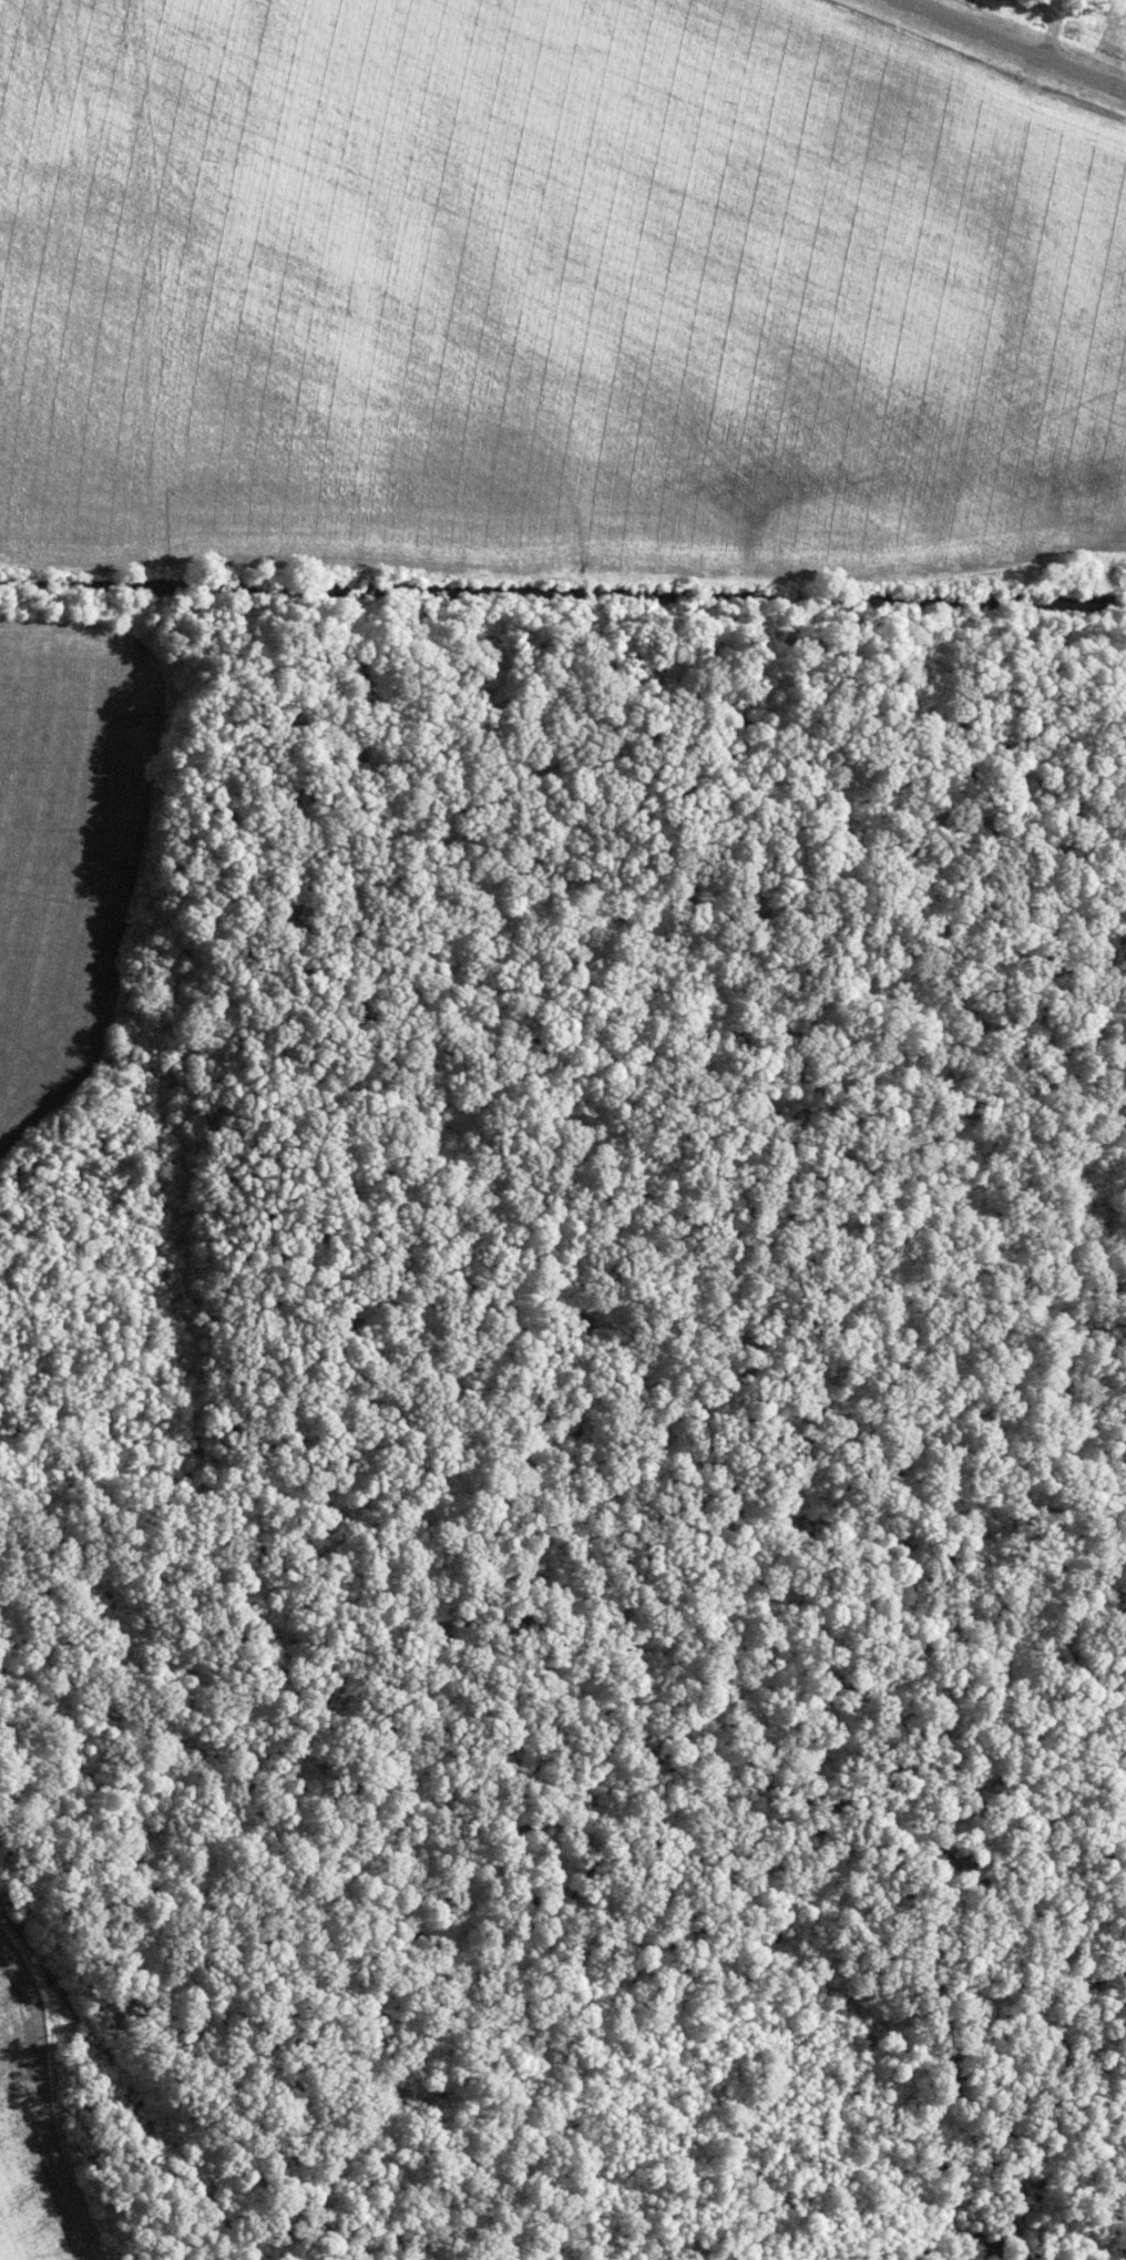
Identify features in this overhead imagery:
road: (1048, 29)
road: (1007, 45)
road: (133, 278)

